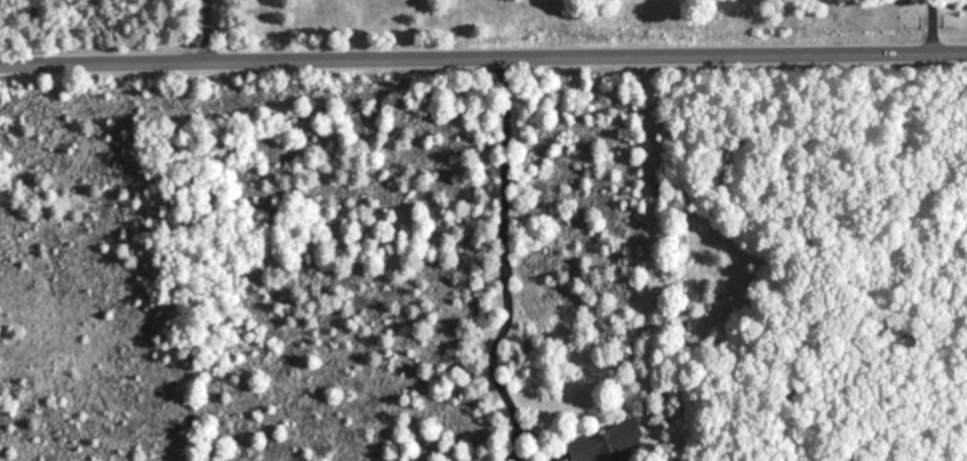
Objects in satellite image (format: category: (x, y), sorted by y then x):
road: (932, 27)
road: (205, 31)
road: (483, 59)
road: (501, 258)
building: (629, 439)

